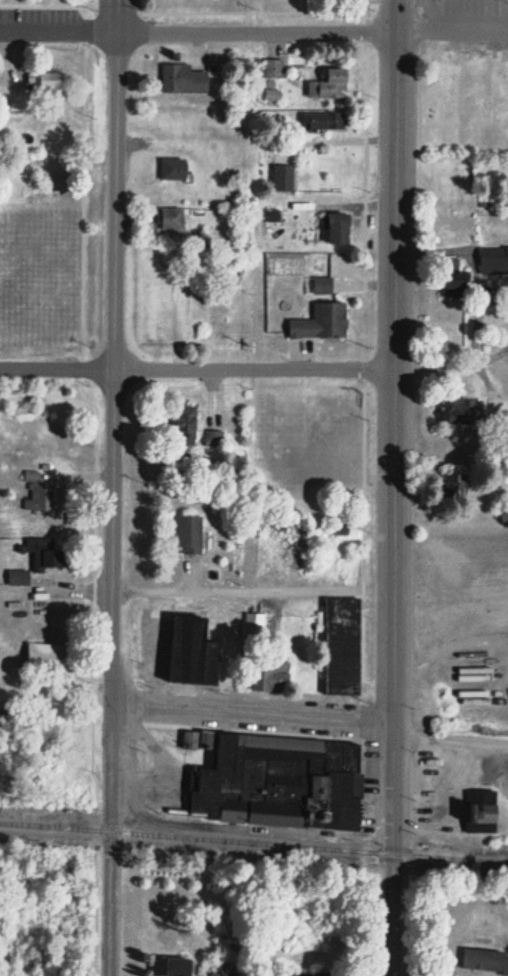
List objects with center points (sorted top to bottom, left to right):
road: (453, 18)
road: (198, 24)
building: (184, 80)
building: (51, 81)
building: (331, 85)
building: (325, 121)
building: (175, 170)
building: (174, 220)
building: (339, 229)
building: (493, 261)
building: (323, 322)
road: (195, 364)
building: (463, 414)
park: (303, 424)
building: (187, 426)
building: (40, 433)
road: (390, 487)
road: (109, 488)
building: (38, 496)
building: (188, 534)
building: (49, 556)
building: (19, 578)
road: (249, 584)
building: (59, 611)
building: (344, 646)
building: (195, 652)
building: (51, 662)
building: (272, 675)
road: (250, 708)
road: (450, 740)
building: (278, 783)
building: (482, 812)
railway: (253, 841)
building: (485, 961)
building: (172, 967)
building: (225, 974)

